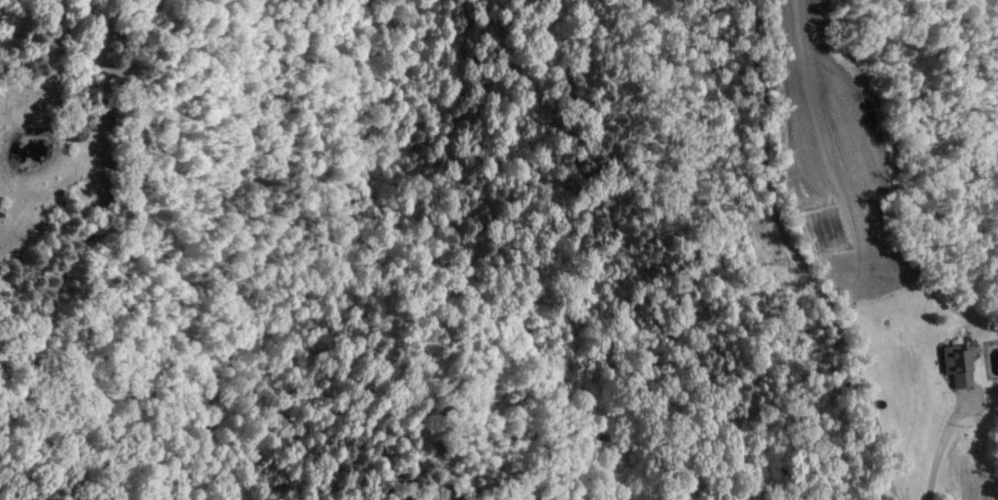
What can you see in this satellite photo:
road: (968, 465)

